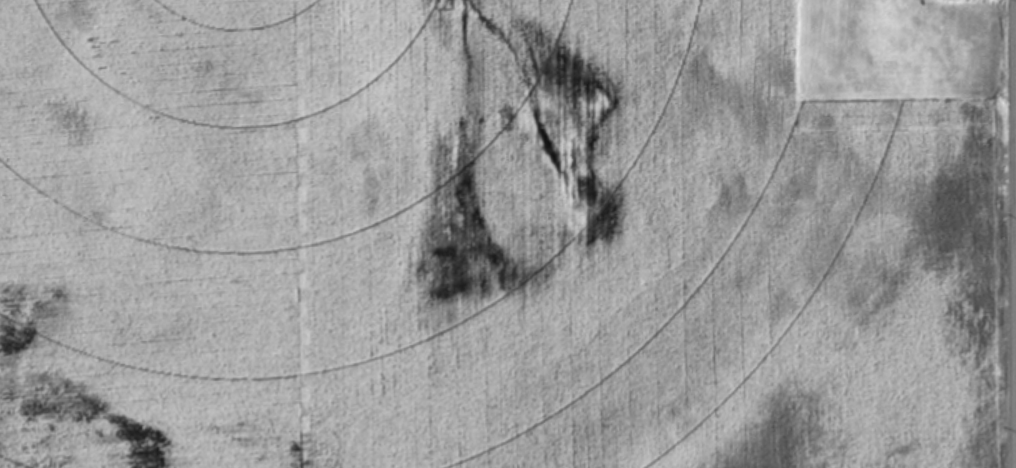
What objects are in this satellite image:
road: (1014, 132)

